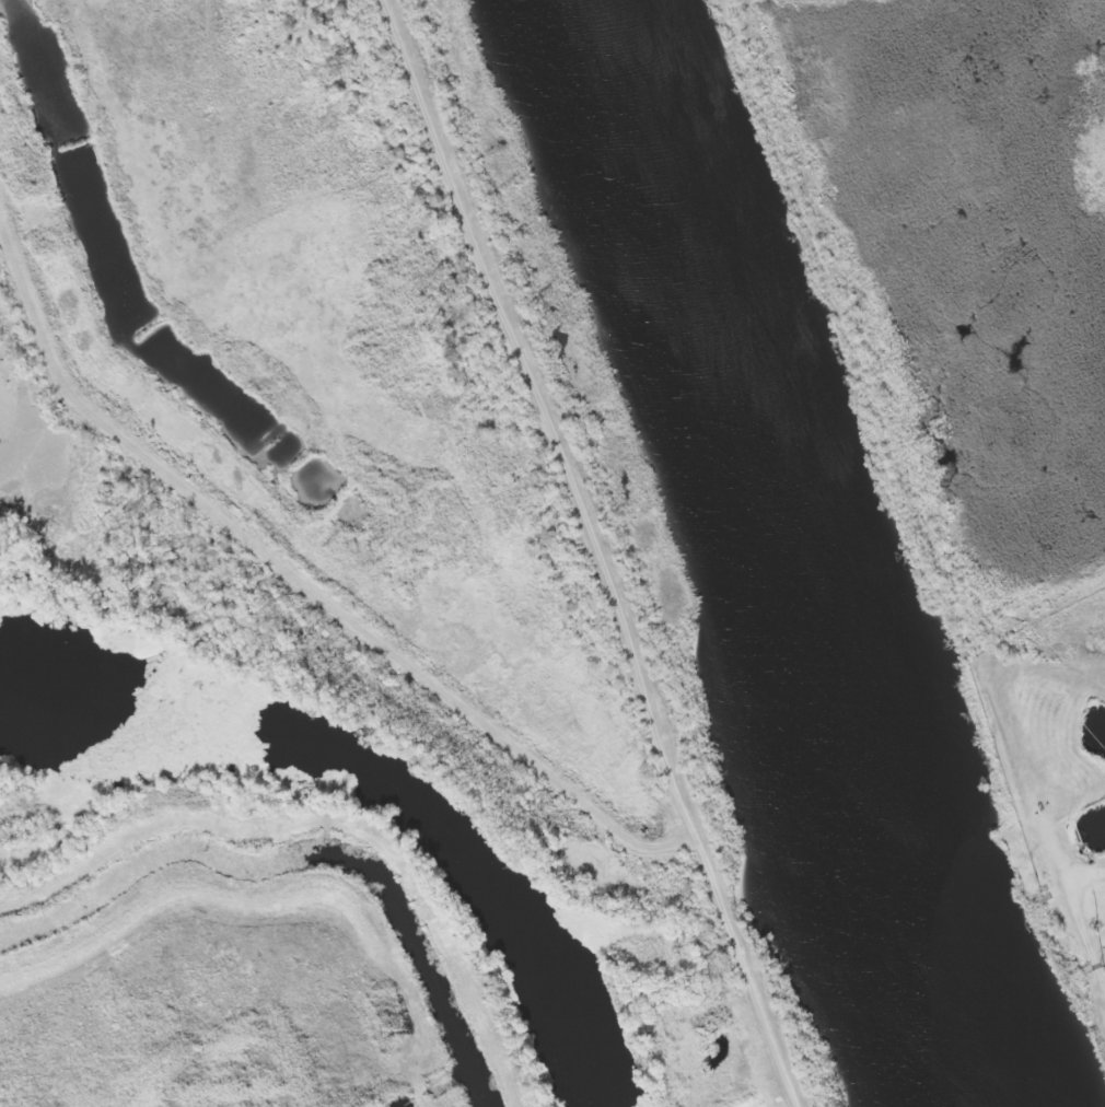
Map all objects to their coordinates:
road: (581, 553)
road: (1078, 923)

